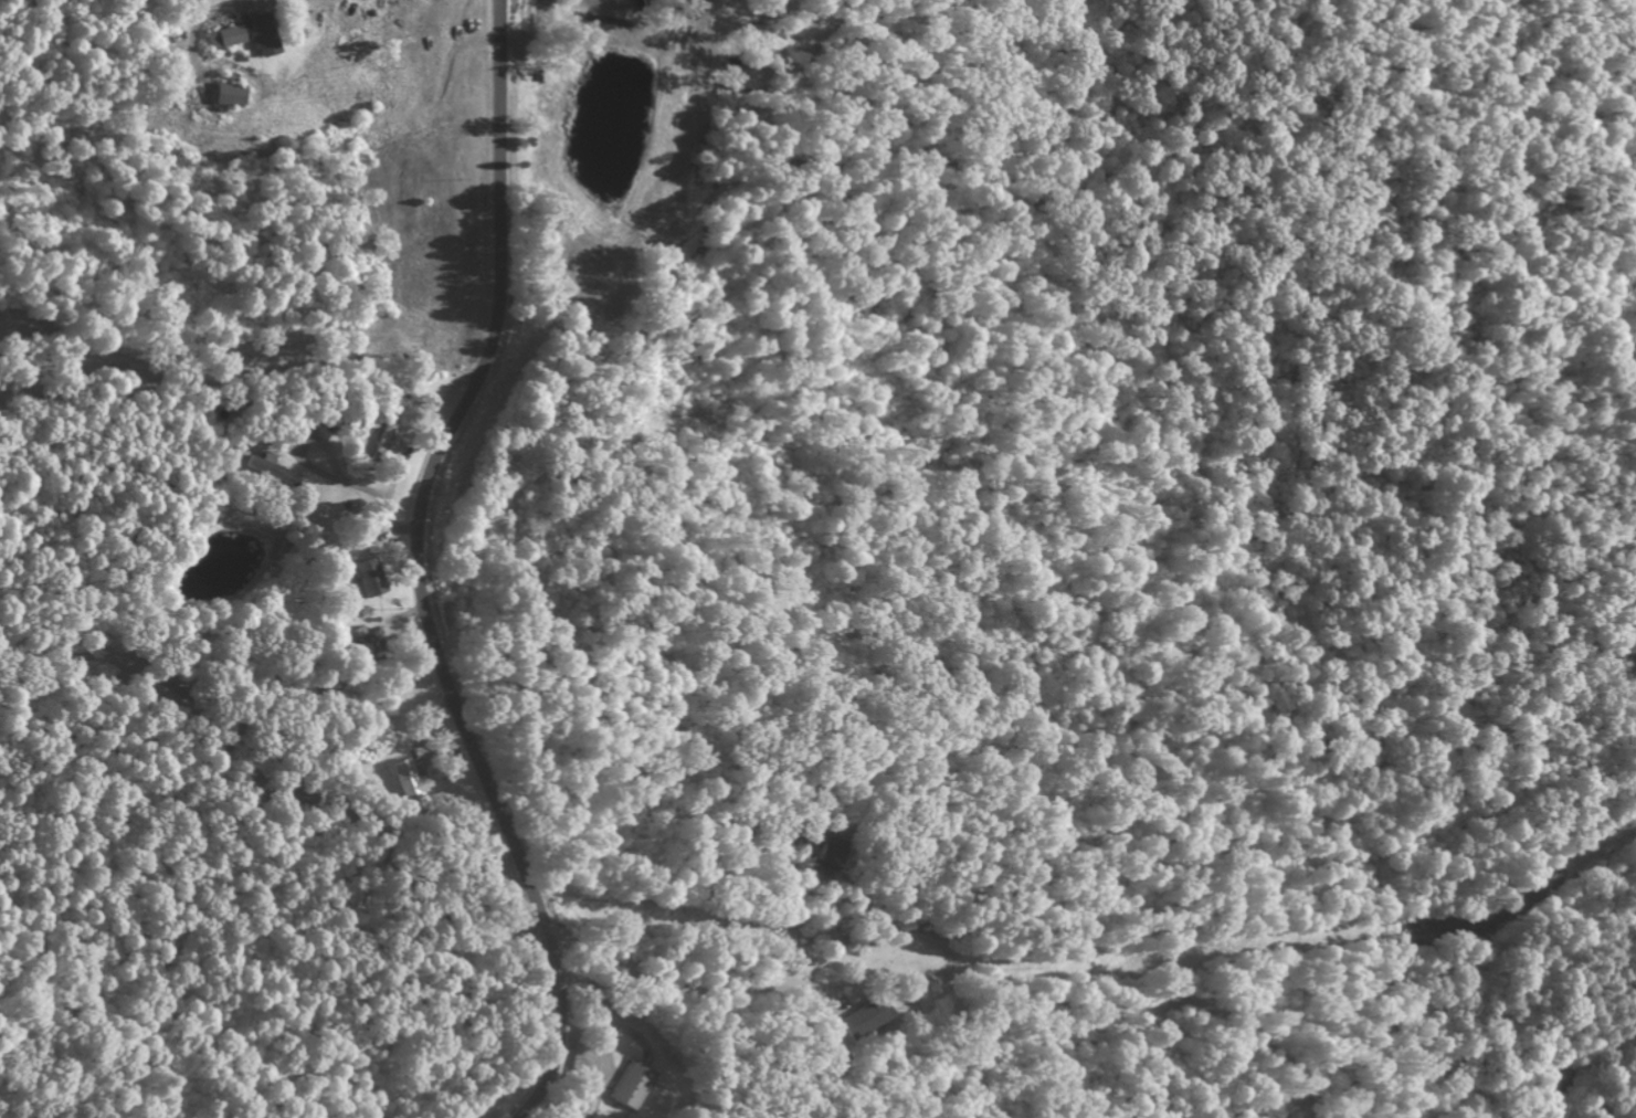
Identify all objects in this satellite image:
building: (263, 33)
building: (226, 35)
building: (229, 94)
road: (413, 568)
building: (371, 577)
building: (414, 785)
building: (866, 1019)
building: (632, 1085)
building: (601, 1116)

